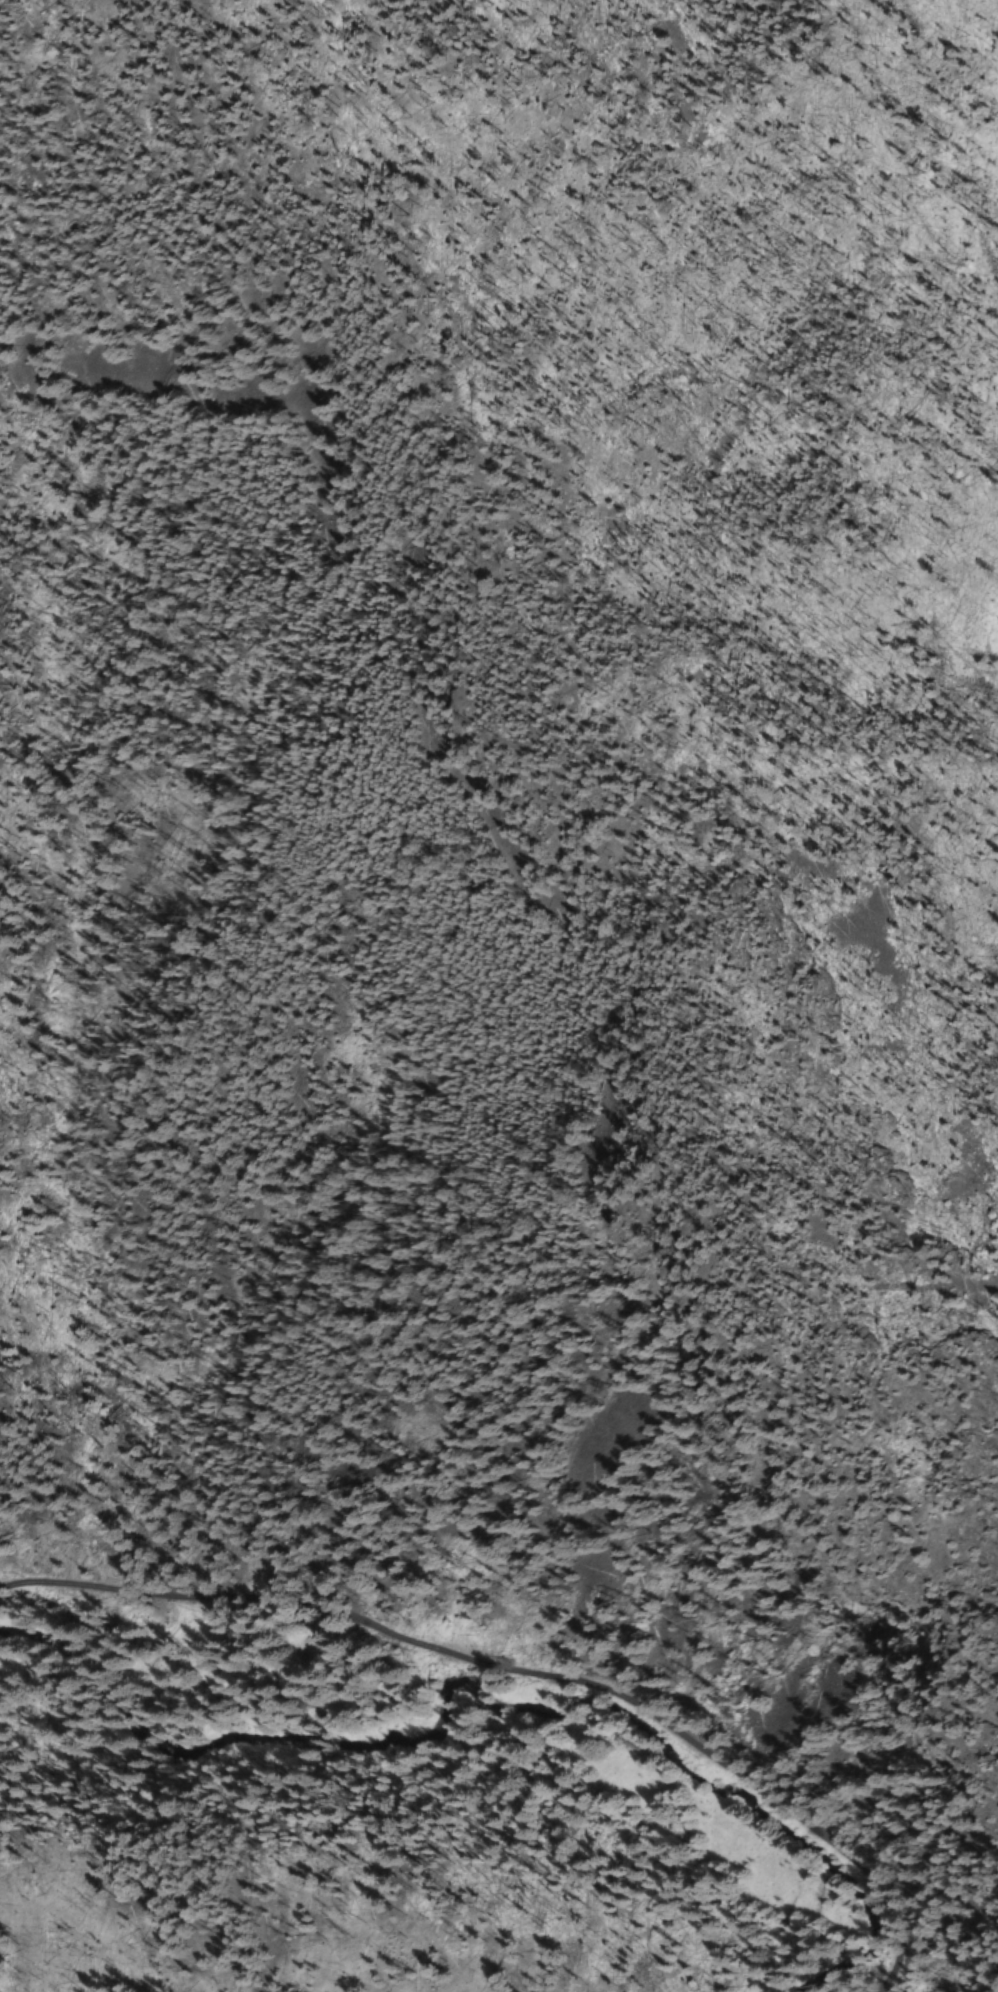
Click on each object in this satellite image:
road: (523, 1668)
river: (483, 1701)

